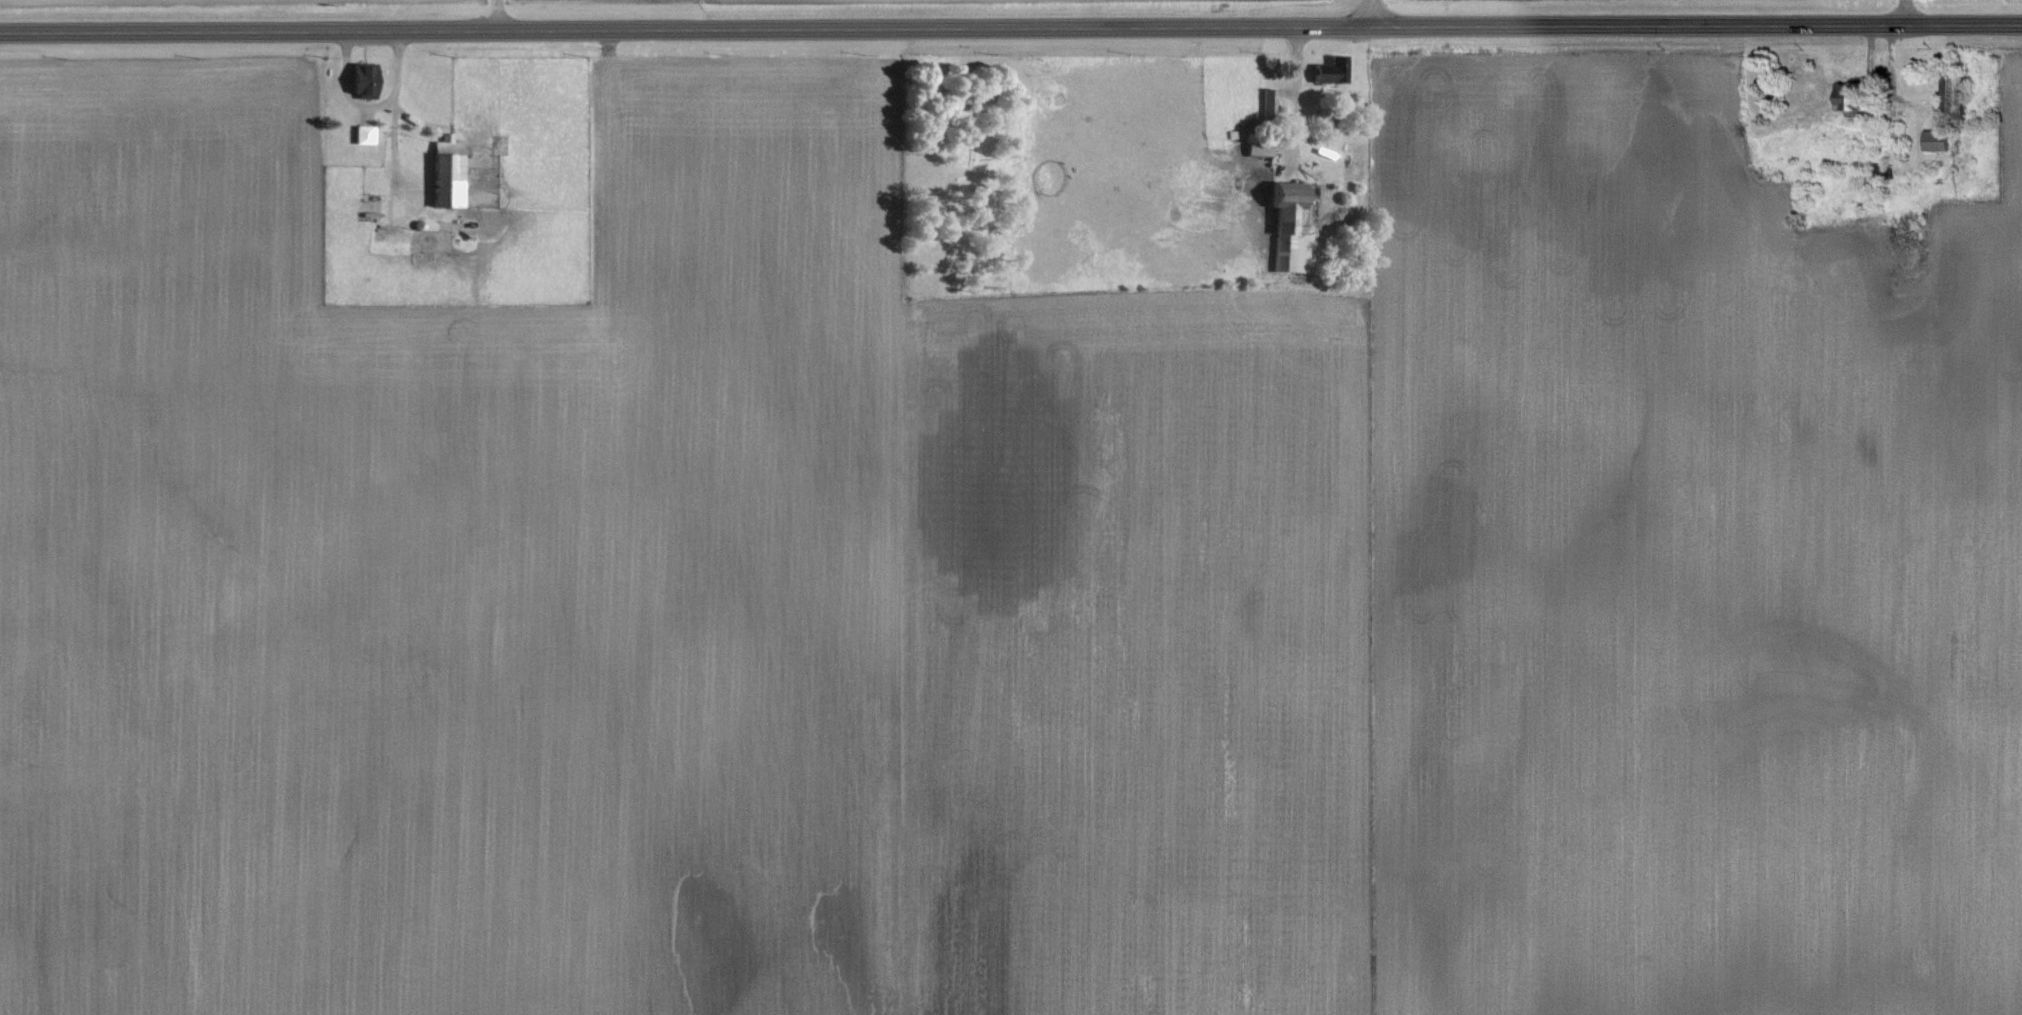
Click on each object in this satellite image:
road: (1899, 10)
road: (1366, 13)
road: (493, 15)
road: (1011, 28)
building: (1332, 68)
building: (353, 76)
building: (1949, 90)
building: (1843, 96)
road: (391, 130)
building: (356, 131)
building: (1931, 138)
building: (1253, 145)
road: (1275, 168)
building: (441, 170)
building: (1282, 224)

